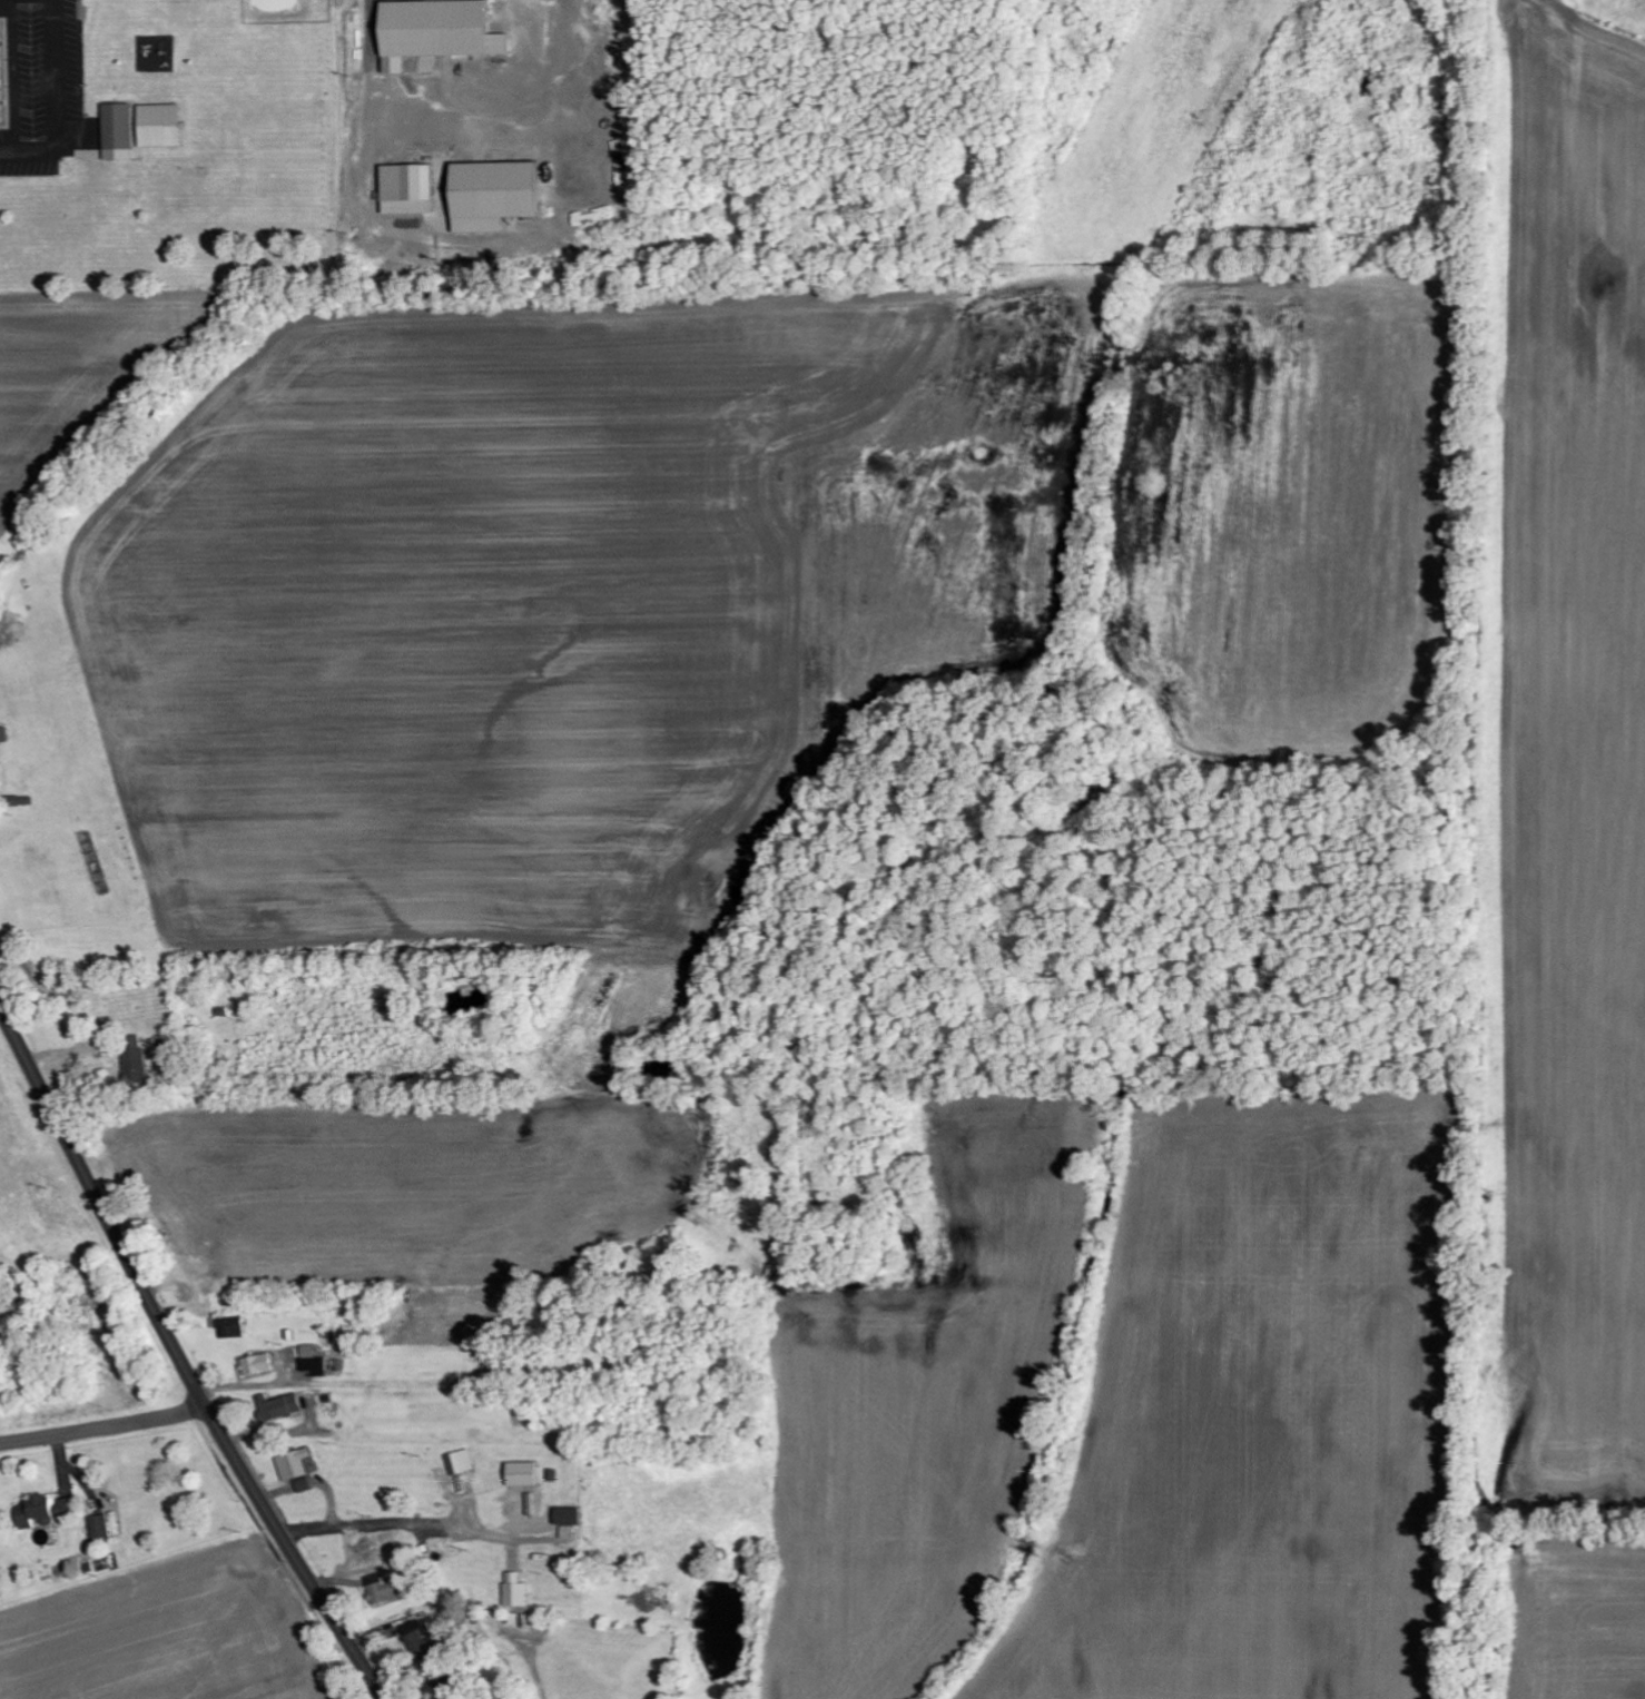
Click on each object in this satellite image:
building: (435, 31)
road: (12, 75)
building: (0, 79)
parking lot: (41, 85)
road: (56, 102)
building: (120, 126)
building: (160, 126)
building: (407, 182)
building: (493, 195)
building: (135, 1068)
building: (228, 1325)
road: (179, 1360)
building: (255, 1364)
building: (313, 1365)
building: (276, 1406)
road: (104, 1430)
building: (456, 1463)
building: (295, 1469)
road: (76, 1473)
building: (521, 1474)
road: (63, 1480)
building: (35, 1512)
building: (100, 1527)
building: (366, 1548)
building: (384, 1591)
building: (514, 1591)
building: (417, 1639)

